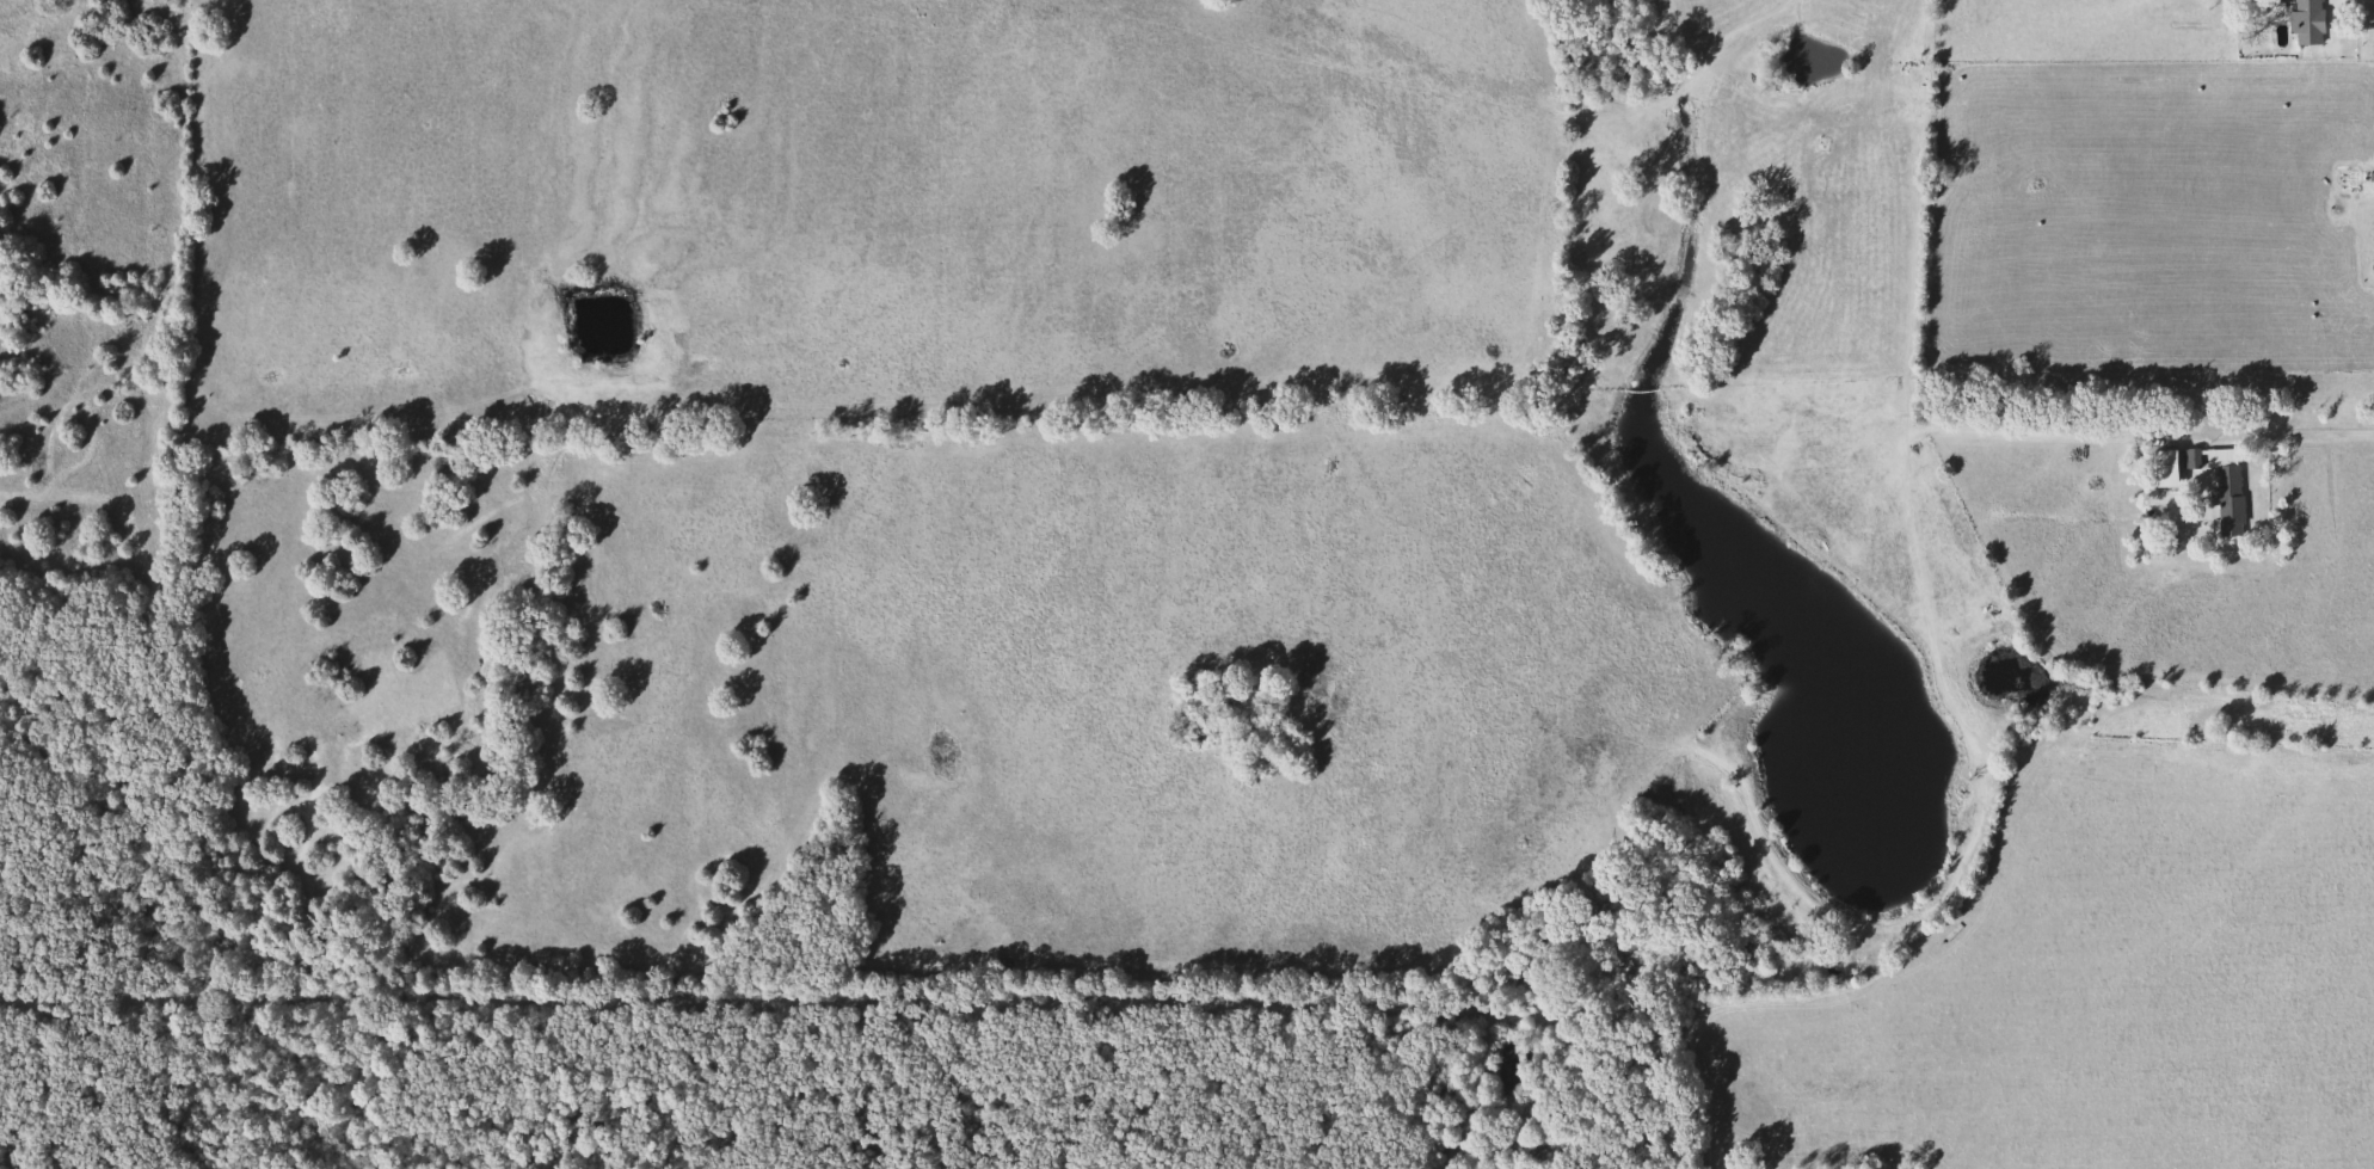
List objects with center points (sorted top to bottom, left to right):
building: (2304, 24)
road: (2318, 436)
building: (2189, 456)
building: (2161, 467)
building: (2224, 488)
road: (2338, 715)

